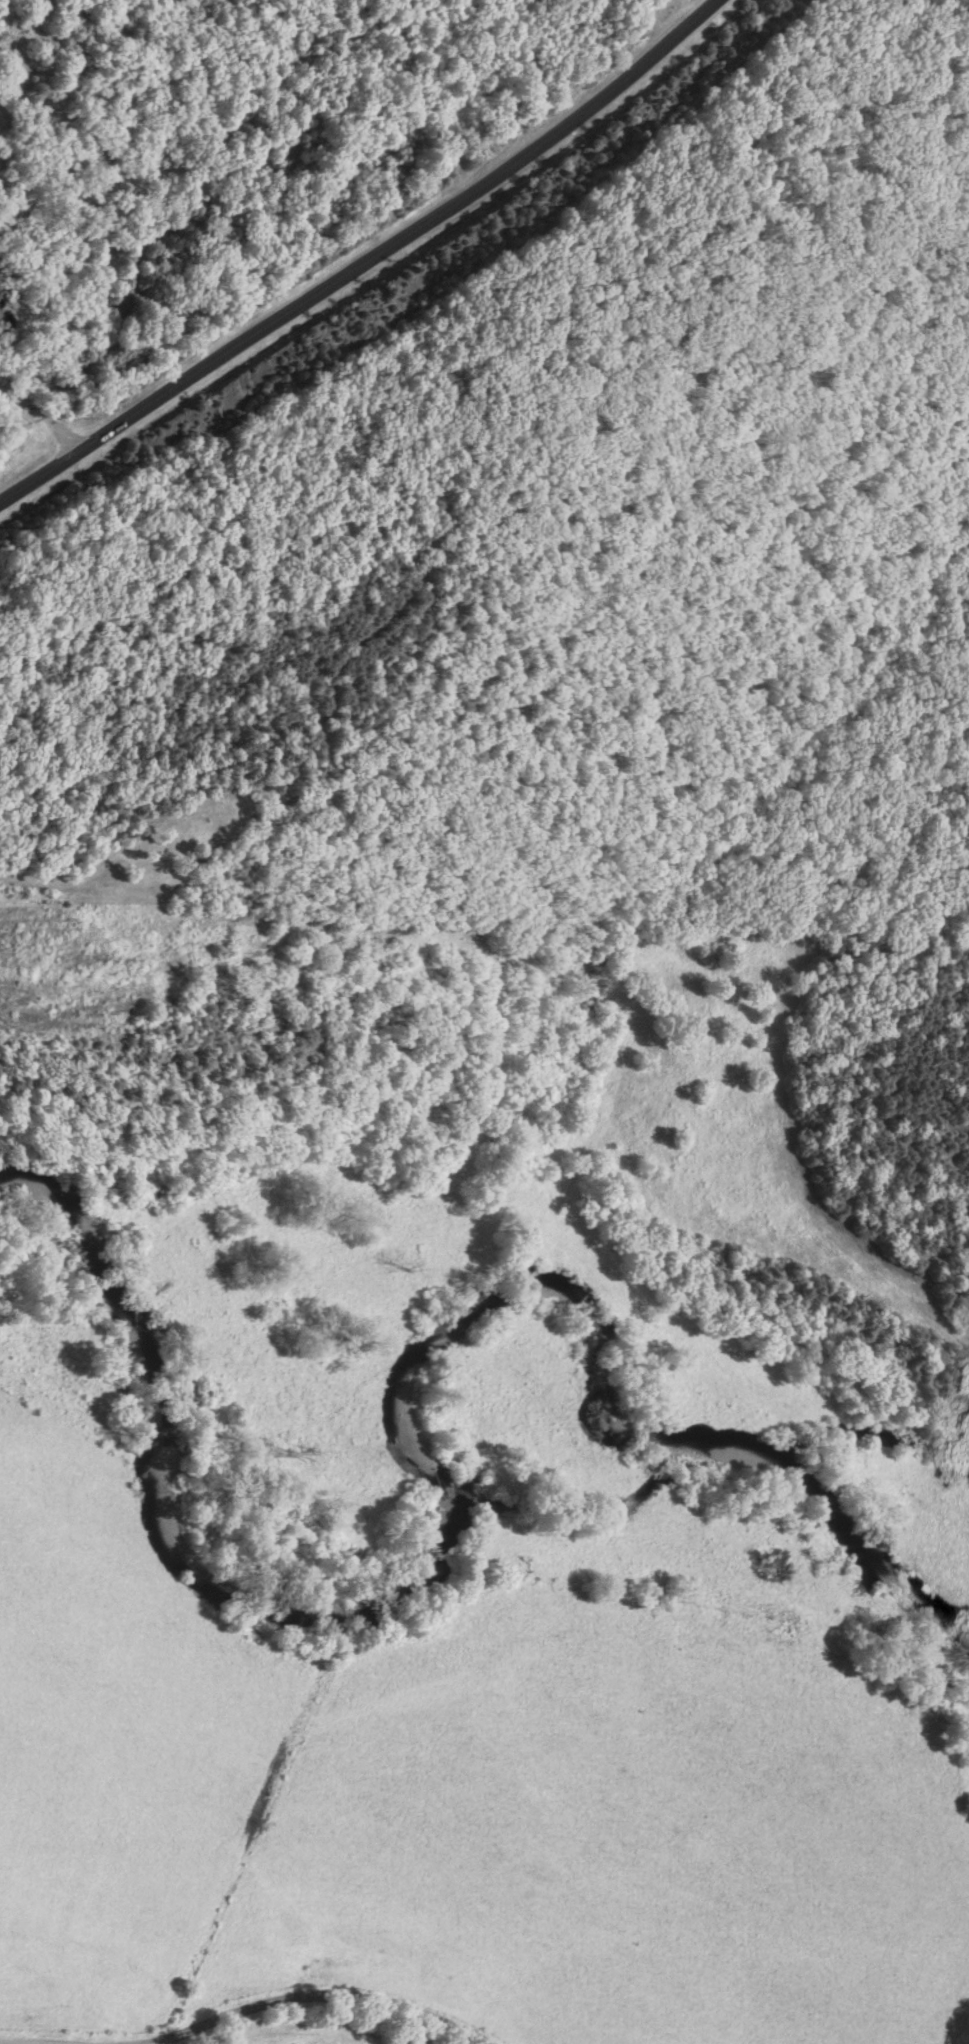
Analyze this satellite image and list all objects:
road: (375, 267)
road: (37, 425)
road: (313, 2001)
road: (14, 2043)

